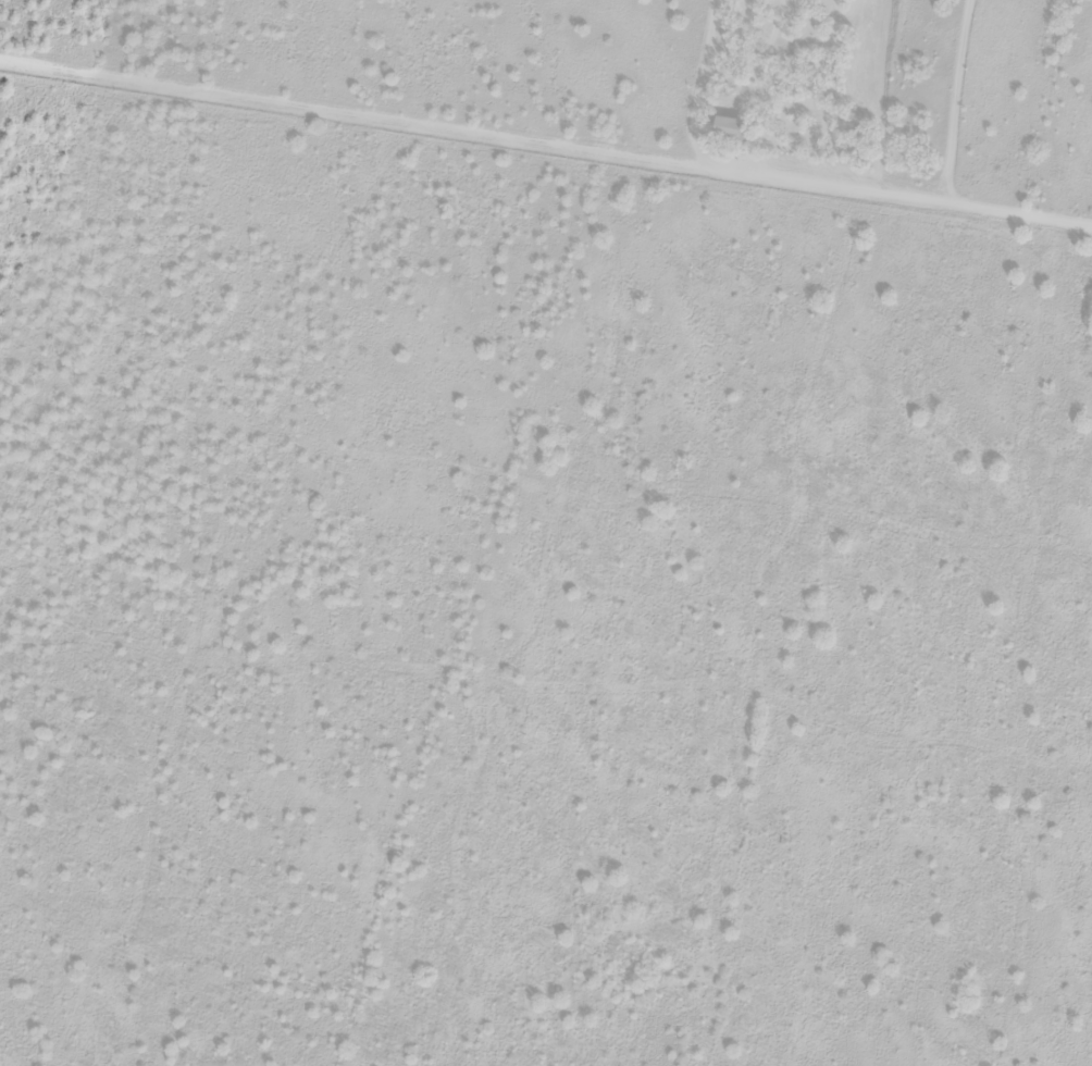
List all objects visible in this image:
building: (730, 128)

